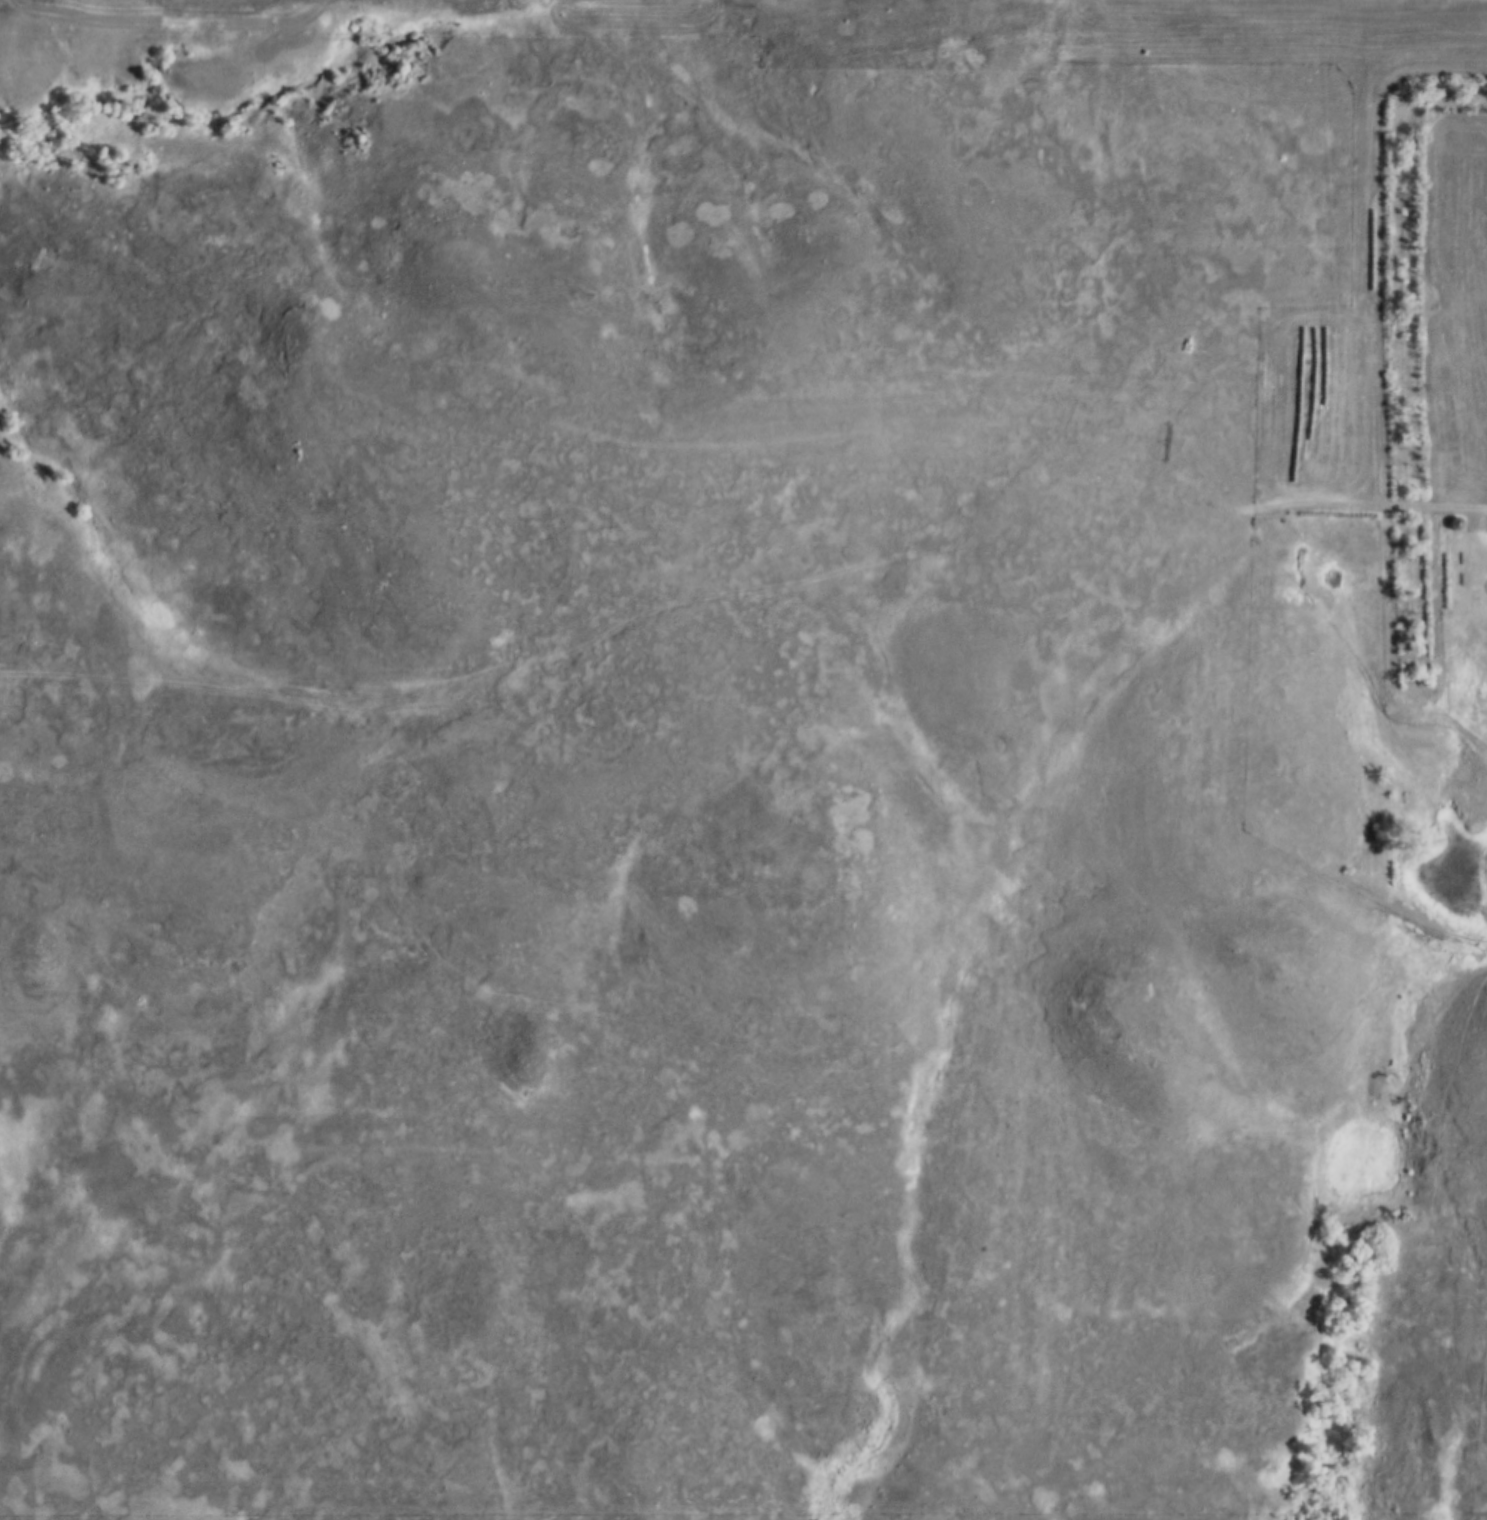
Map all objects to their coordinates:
road: (1368, 508)
building: (1450, 525)

